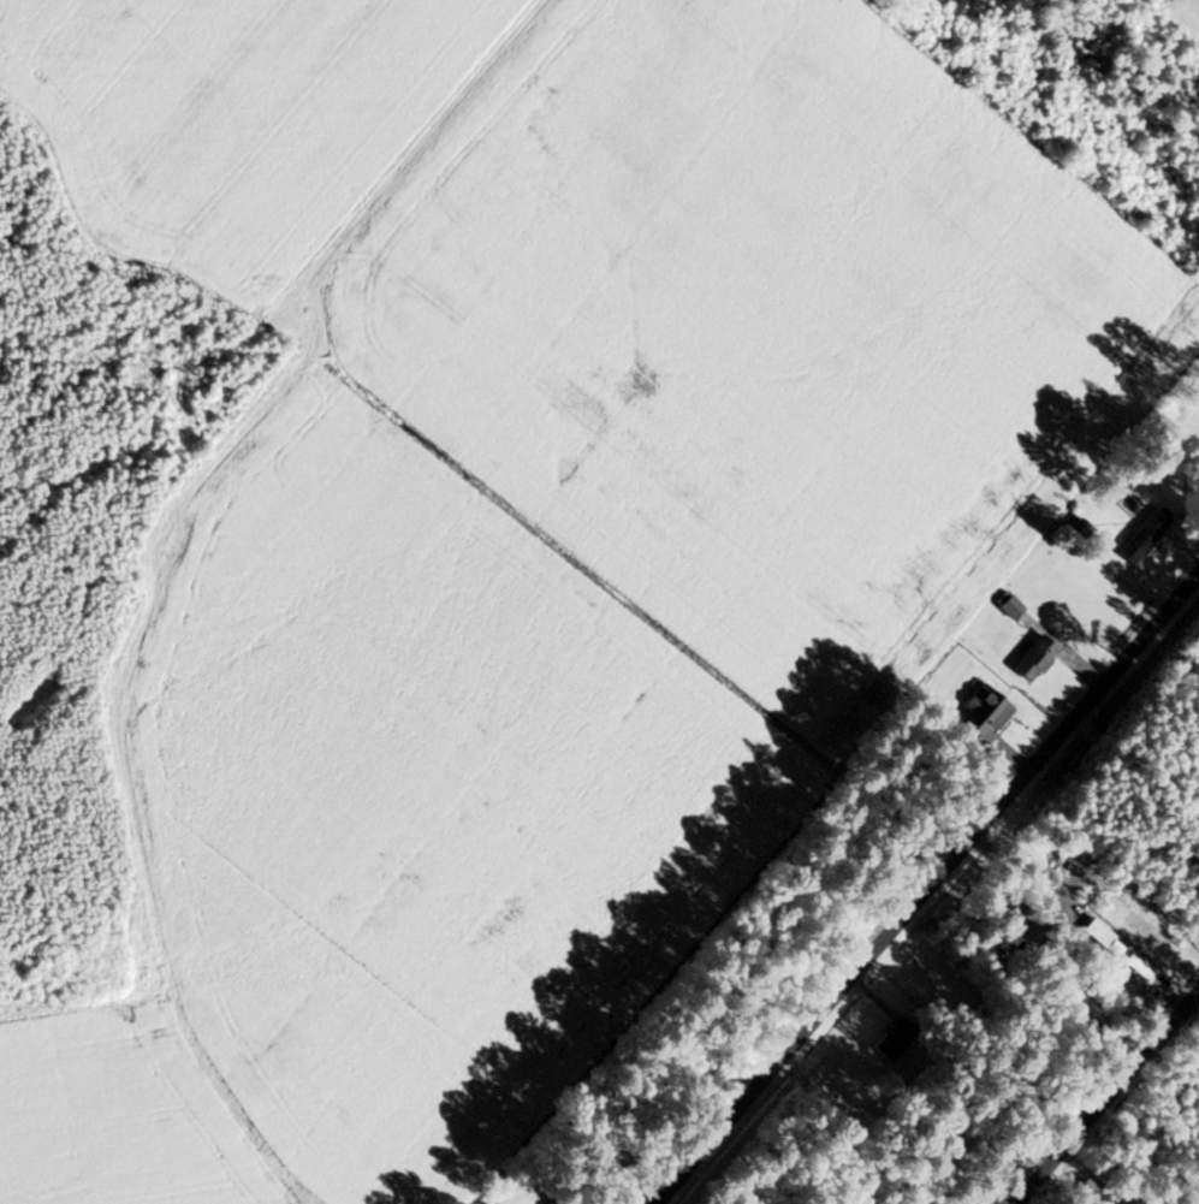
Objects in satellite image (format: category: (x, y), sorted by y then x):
building: (1031, 658)
building: (980, 712)
road: (925, 890)
building: (1135, 965)
building: (890, 1039)
road: (1110, 1099)

